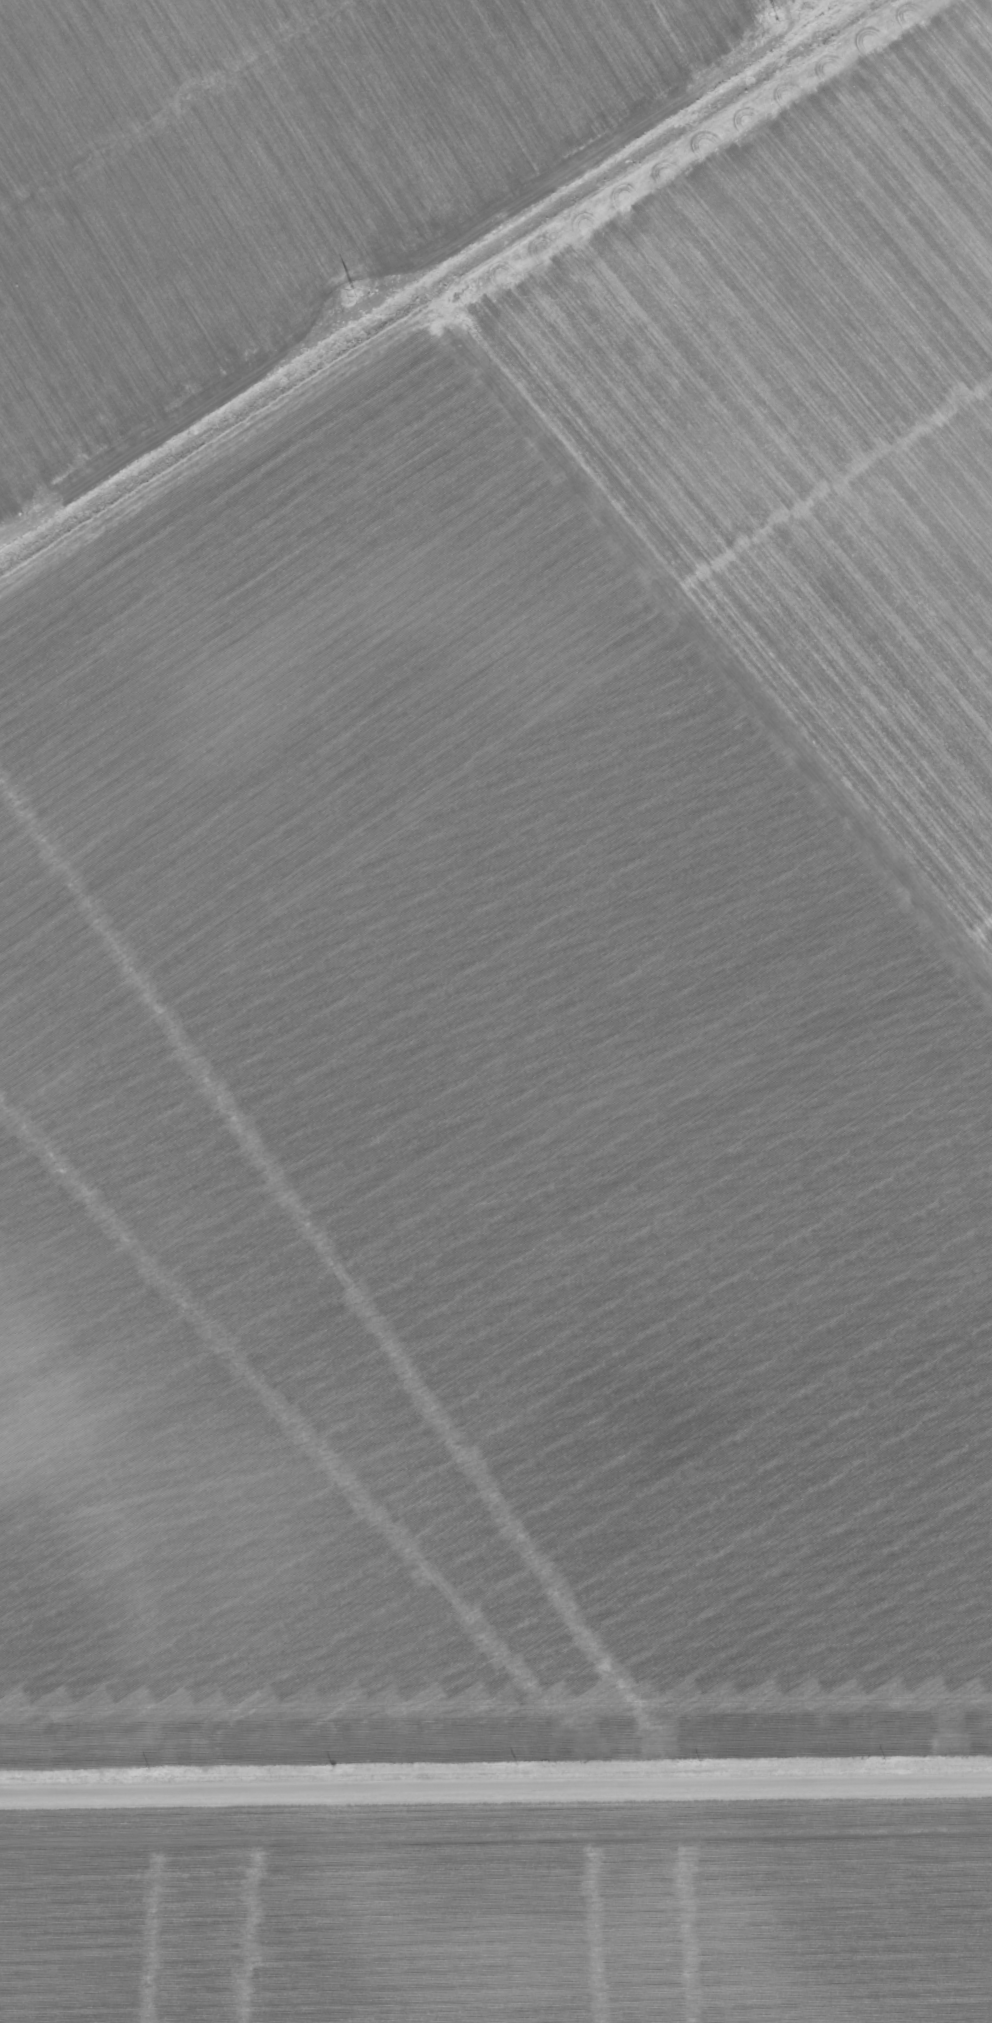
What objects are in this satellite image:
power tower: (780, 19)
power tower: (358, 293)
road: (496, 1780)

